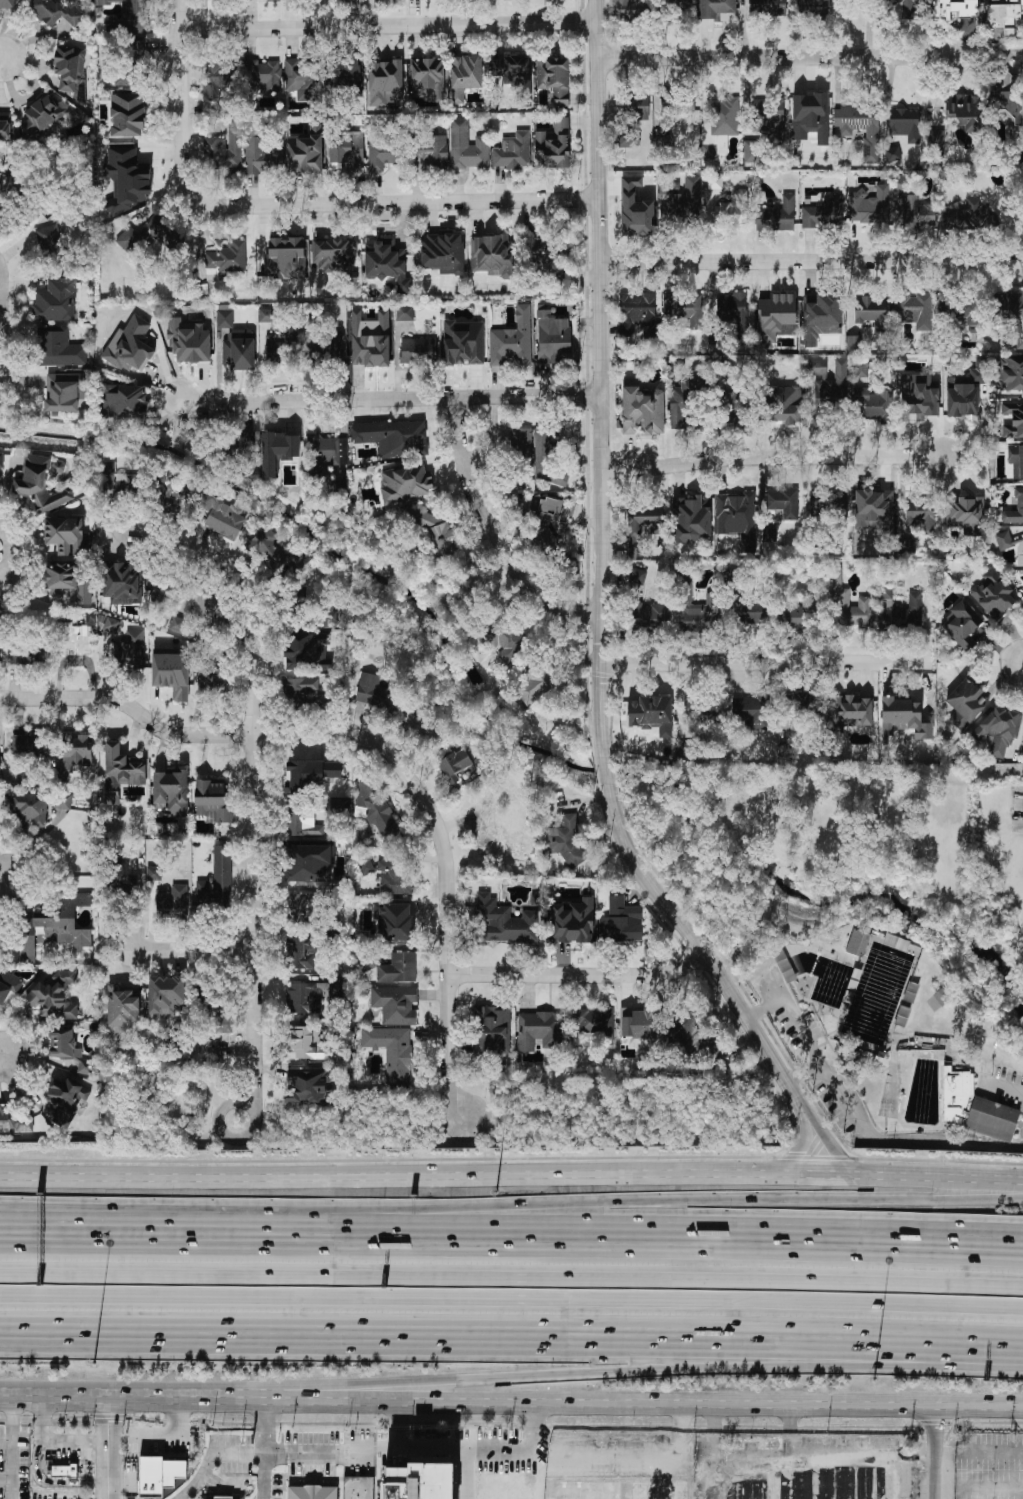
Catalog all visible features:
building: (7, 4)
building: (677, 4)
building: (766, 7)
building: (810, 7)
building: (903, 8)
building: (953, 8)
building: (632, 9)
building: (717, 9)
building: (56, 11)
building: (1001, 19)
building: (127, 26)
road: (388, 26)
road: (777, 56)
road: (2, 58)
building: (69, 65)
building: (513, 70)
building: (262, 73)
building: (464, 75)
building: (344, 77)
building: (427, 77)
building: (217, 78)
building: (303, 78)
building: (554, 79)
building: (385, 82)
building: (1010, 96)
road: (180, 99)
building: (676, 101)
building: (633, 107)
building: (964, 109)
building: (43, 113)
building: (127, 114)
building: (724, 115)
building: (767, 116)
building: (810, 116)
building: (904, 121)
building: (860, 127)
building: (5, 129)
building: (628, 138)
building: (935, 140)
building: (665, 142)
building: (553, 145)
building: (467, 146)
building: (225, 147)
building: (386, 149)
building: (429, 149)
building: (513, 151)
building: (709, 151)
building: (752, 151)
building: (304, 153)
building: (262, 154)
building: (125, 178)
building: (714, 180)
building: (680, 198)
road: (392, 202)
building: (868, 204)
building: (635, 208)
building: (732, 208)
building: (914, 212)
building: (823, 213)
building: (777, 215)
building: (969, 217)
building: (151, 234)
building: (50, 240)
building: (442, 252)
building: (333, 253)
building: (492, 254)
building: (285, 256)
building: (225, 259)
road: (788, 261)
building: (386, 262)
building: (562, 279)
building: (55, 300)
building: (683, 308)
building: (960, 308)
building: (733, 311)
building: (871, 311)
building: (1009, 311)
building: (266, 314)
building: (637, 314)
building: (820, 315)
building: (774, 316)
building: (224, 318)
road: (1, 323)
building: (370, 339)
building: (512, 339)
building: (558, 339)
building: (188, 341)
building: (463, 341)
building: (853, 342)
building: (278, 345)
building: (330, 345)
building: (59, 347)
building: (239, 348)
building: (417, 350)
building: (862, 368)
building: (1010, 371)
road: (600, 378)
building: (828, 383)
building: (64, 391)
building: (965, 393)
building: (918, 396)
building: (125, 400)
building: (682, 400)
road: (390, 401)
building: (873, 403)
building: (783, 404)
building: (734, 407)
building: (643, 410)
building: (1013, 419)
building: (394, 437)
building: (241, 449)
building: (278, 450)
building: (324, 452)
building: (545, 457)
road: (771, 458)
building: (1015, 459)
building: (1, 468)
building: (117, 478)
building: (406, 483)
building: (39, 484)
building: (177, 496)
building: (1019, 498)
building: (783, 501)
building: (828, 503)
building: (965, 513)
building: (920, 514)
building: (220, 515)
building: (737, 516)
building: (691, 518)
building: (436, 532)
building: (65, 535)
road: (495, 535)
building: (1004, 539)
building: (634, 541)
building: (908, 546)
building: (275, 551)
road: (8, 556)
building: (66, 581)
building: (122, 582)
building: (993, 593)
building: (205, 598)
building: (863, 601)
building: (699, 610)
building: (753, 611)
building: (902, 613)
building: (650, 615)
building: (800, 615)
building: (329, 618)
building: (961, 622)
building: (111, 624)
building: (73, 638)
building: (503, 638)
building: (131, 647)
building: (308, 651)
building: (25, 654)
road: (765, 664)
road: (1008, 664)
building: (171, 673)
building: (210, 679)
building: (534, 685)
building: (300, 689)
building: (371, 689)
building: (966, 703)
building: (801, 706)
building: (851, 710)
building: (754, 711)
building: (651, 713)
building: (904, 715)
building: (999, 730)
road: (312, 736)
building: (28, 743)
building: (76, 748)
building: (454, 764)
building: (122, 767)
road: (605, 770)
building: (309, 773)
road: (253, 777)
building: (170, 790)
building: (62, 800)
building: (212, 801)
building: (30, 809)
building: (376, 811)
building: (303, 823)
building: (489, 830)
building: (566, 839)
building: (308, 862)
building: (386, 873)
road: (6, 876)
building: (216, 879)
building: (171, 901)
building: (299, 907)
building: (63, 919)
building: (393, 920)
building: (504, 920)
building: (572, 921)
building: (620, 921)
building: (0, 936)
building: (858, 942)
road: (698, 948)
road: (191, 951)
building: (300, 953)
building: (782, 962)
building: (399, 967)
road: (579, 974)
building: (8, 983)
building: (336, 986)
building: (54, 995)
building: (165, 996)
building: (304, 997)
building: (938, 999)
building: (395, 1003)
building: (122, 1007)
building: (902, 1015)
building: (594, 1020)
building: (223, 1023)
building: (642, 1026)
building: (492, 1028)
building: (539, 1029)
building: (304, 1041)
building: (63, 1042)
building: (699, 1044)
road: (449, 1047)
building: (392, 1050)
building: (85, 1065)
building: (310, 1083)
road: (1002, 1087)
building: (65, 1099)
building: (975, 1108)
road: (858, 1113)
building: (15, 1117)
road: (217, 1121)
road: (828, 1140)
road: (798, 1148)
road: (511, 1167)
road: (659, 1203)
road: (111, 1227)
road: (111, 1239)
road: (260, 1239)
road: (660, 1246)
road: (511, 1286)
road: (511, 1300)
road: (511, 1340)
road: (652, 1370)
road: (35, 1392)
road: (511, 1402)
road: (9, 1419)
road: (398, 1423)
road: (537, 1426)
road: (683, 1429)
road: (52, 1439)
road: (108, 1447)
road: (264, 1448)
road: (473, 1448)
road: (816, 1453)
road: (934, 1453)
road: (978, 1453)
road: (210, 1454)
building: (69, 1465)
road: (9, 1467)
road: (467, 1473)
building: (158, 1475)
road: (37, 1478)
road: (5, 1479)
building: (419, 1481)
building: (356, 1487)
road: (991, 1487)
building: (312, 1492)
building: (223, 1497)

